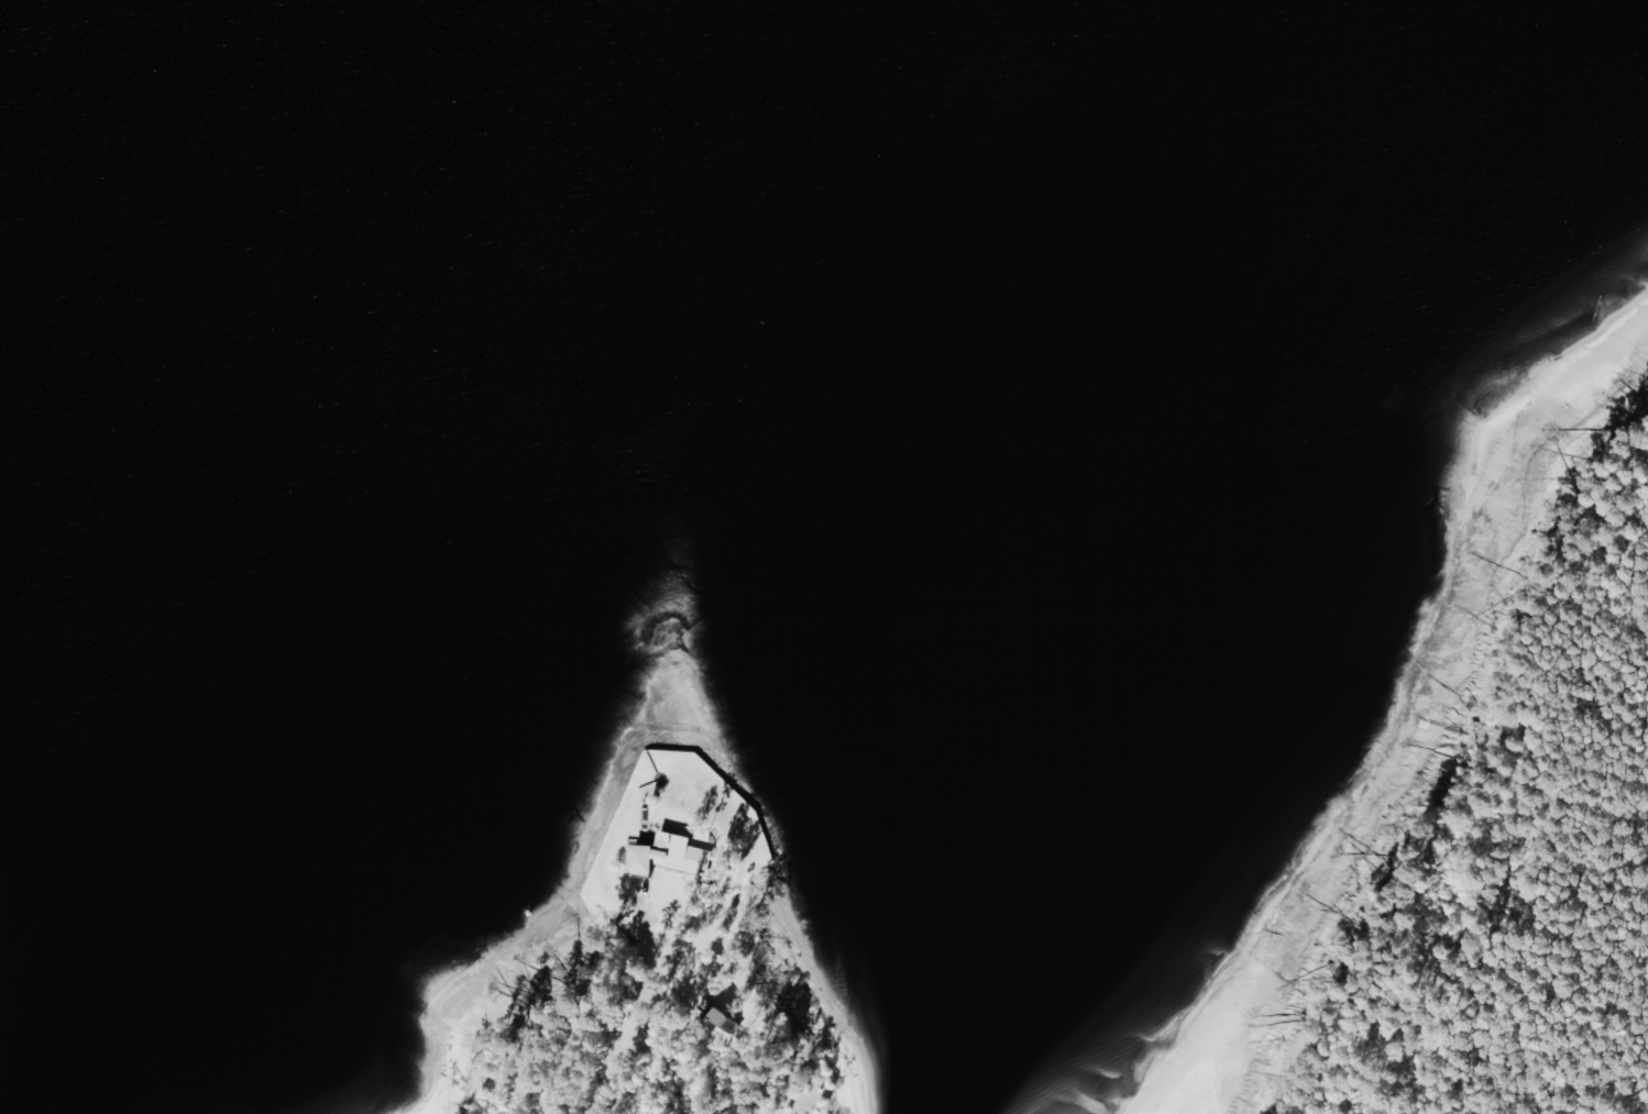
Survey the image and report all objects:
building: (680, 857)
building: (735, 1024)
road: (624, 1050)

